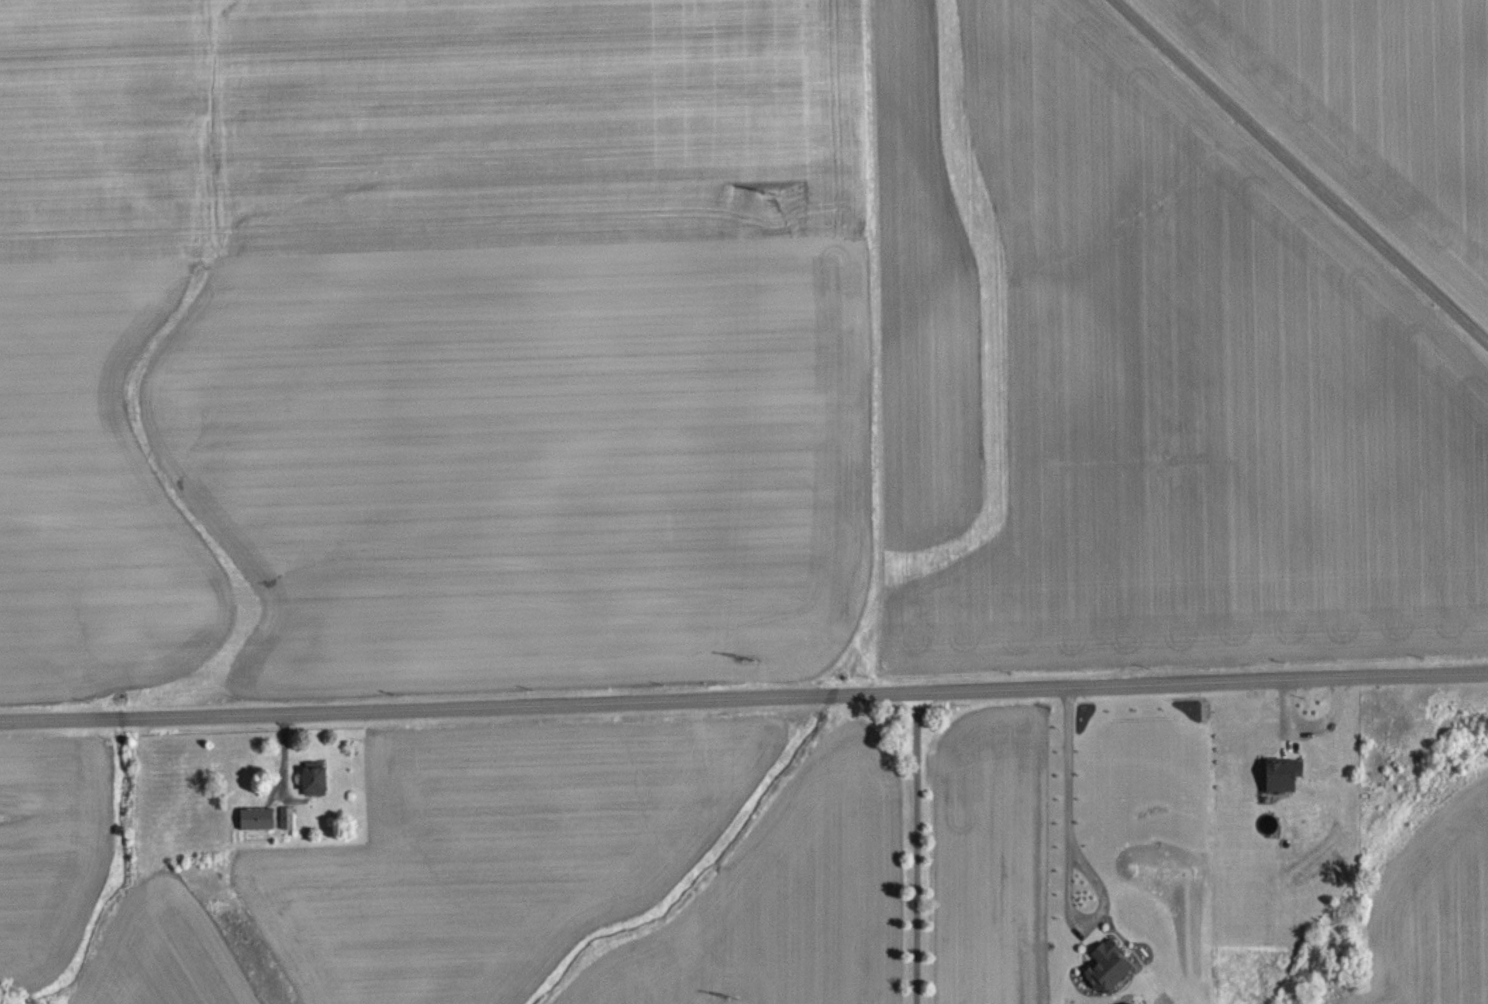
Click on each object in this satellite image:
road: (1302, 172)
road: (744, 700)
building: (314, 793)
building: (286, 829)
building: (257, 831)
road: (918, 848)
road: (1069, 857)

